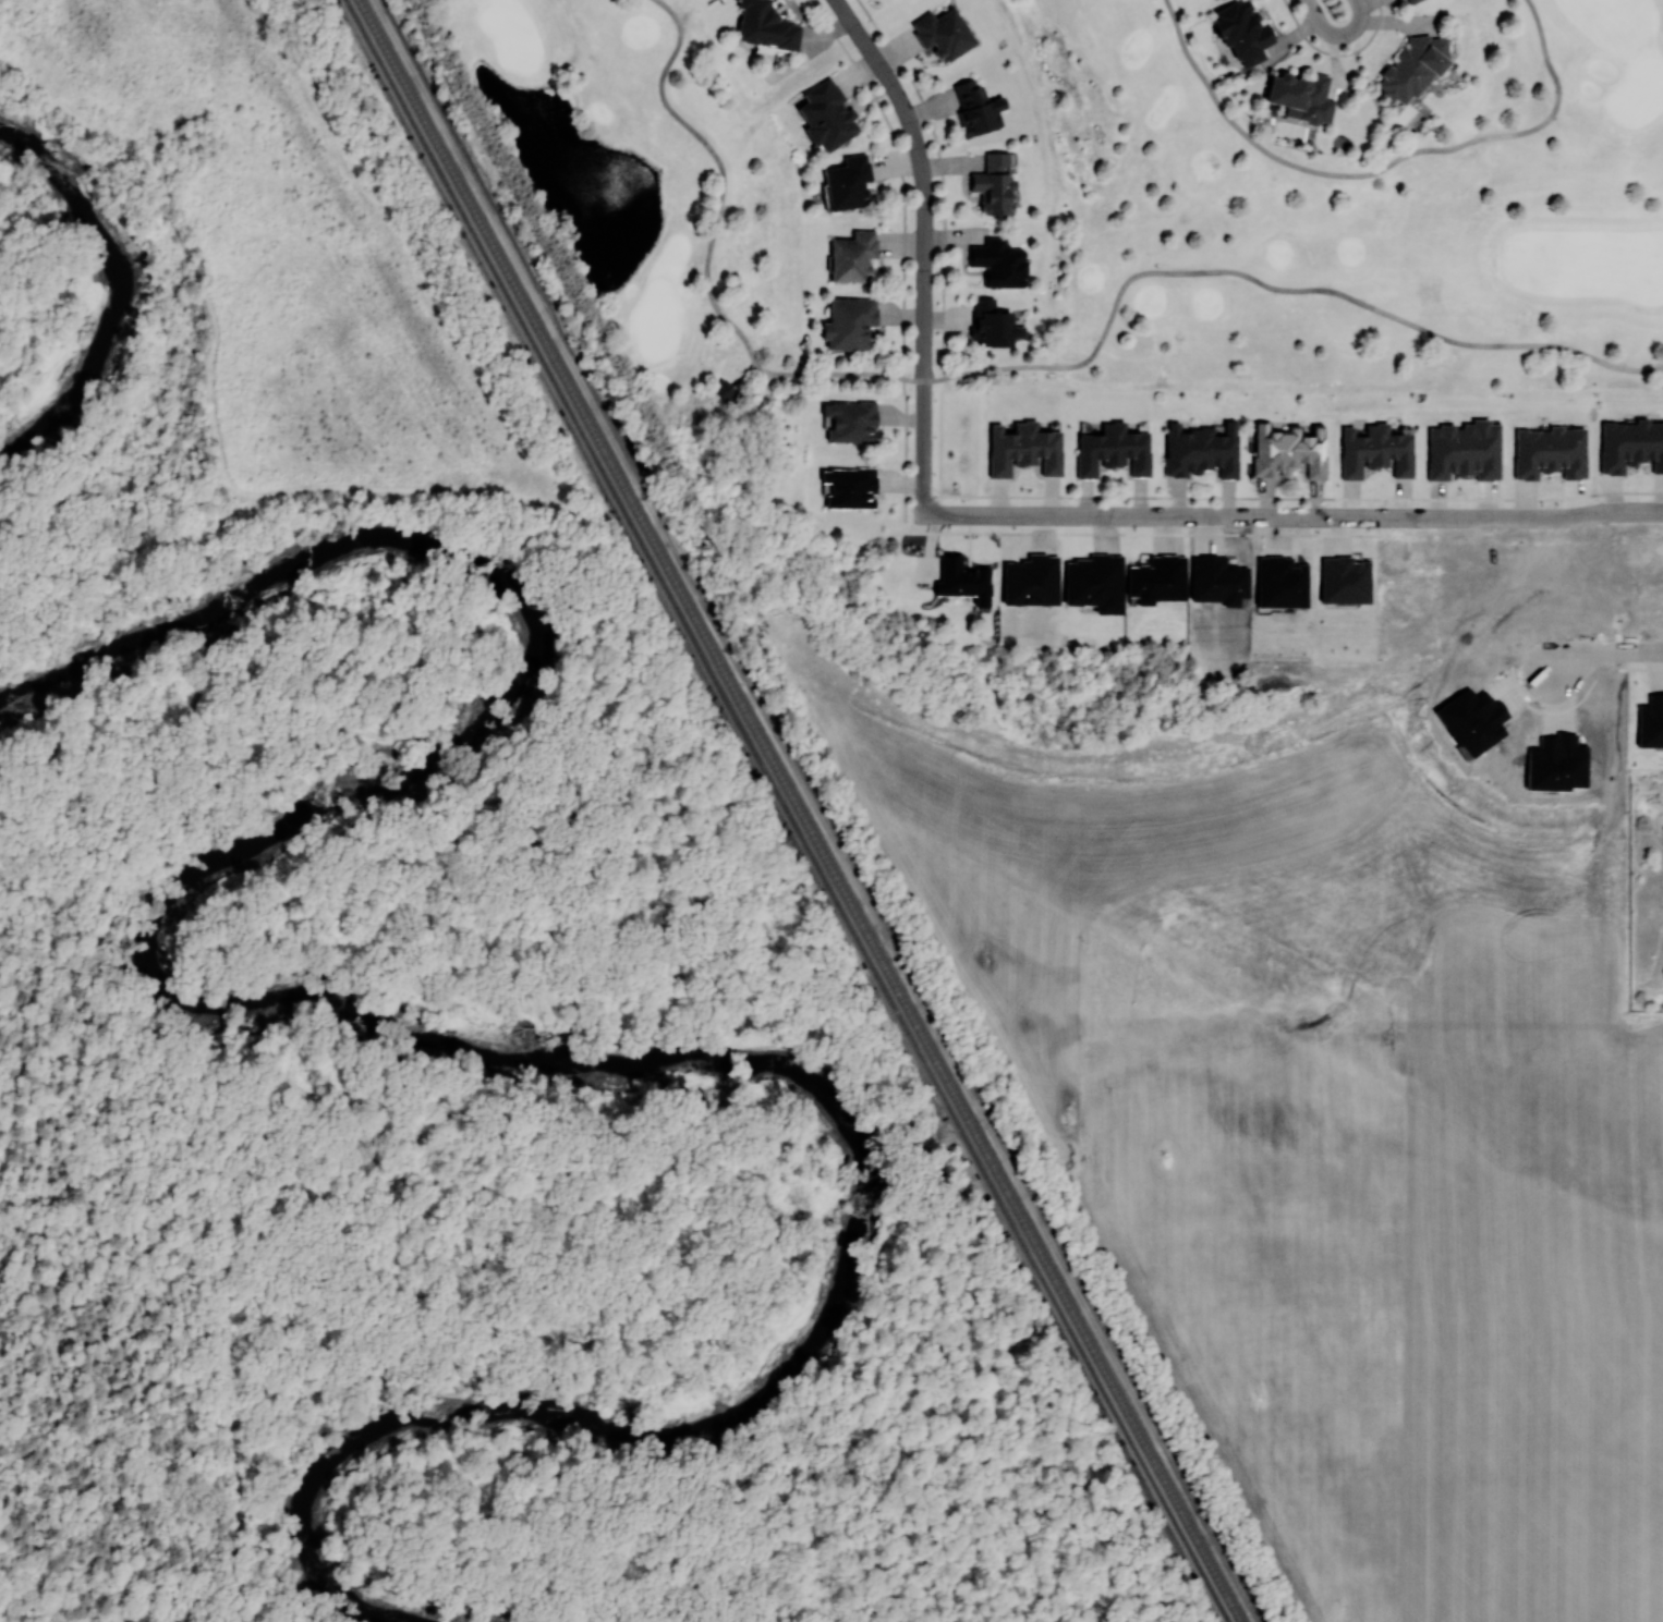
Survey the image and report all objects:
building: (765, 25)
building: (1242, 32)
building: (943, 33)
building: (1412, 66)
building: (1300, 96)
building: (976, 108)
building: (826, 115)
road: (1381, 169)
road: (724, 174)
building: (847, 182)
building: (993, 183)
park: (1085, 221)
road: (924, 246)
building: (852, 256)
road: (401, 257)
building: (999, 263)
road: (1191, 272)
river: (116, 291)
building: (848, 322)
building: (992, 324)
road: (902, 332)
road: (741, 375)
building: (723, 391)
building: (850, 420)
building: (1630, 444)
building: (1023, 449)
building: (1113, 450)
building: (1201, 450)
building: (1288, 450)
building: (1464, 450)
building: (1374, 451)
building: (1550, 451)
building: (849, 487)
road: (1325, 497)
road: (1646, 513)
road: (1162, 516)
road: (1514, 516)
building: (962, 580)
building: (1030, 580)
building: (1156, 580)
building: (1343, 580)
road: (1607, 651)
park: (955, 705)
building: (1650, 720)
railway: (787, 810)
railway: (801, 810)
road: (109, 973)
river: (409, 1036)

